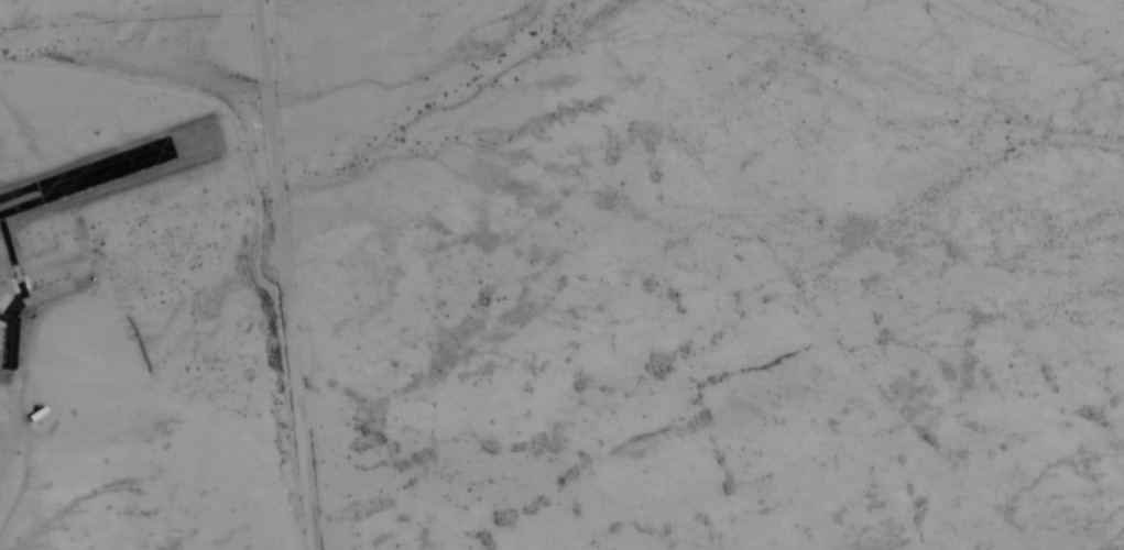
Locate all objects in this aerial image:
road: (130, 13)
airport runway: (79, 164)
building: (121, 164)
airport: (68, 273)
road: (283, 275)
road: (194, 422)

